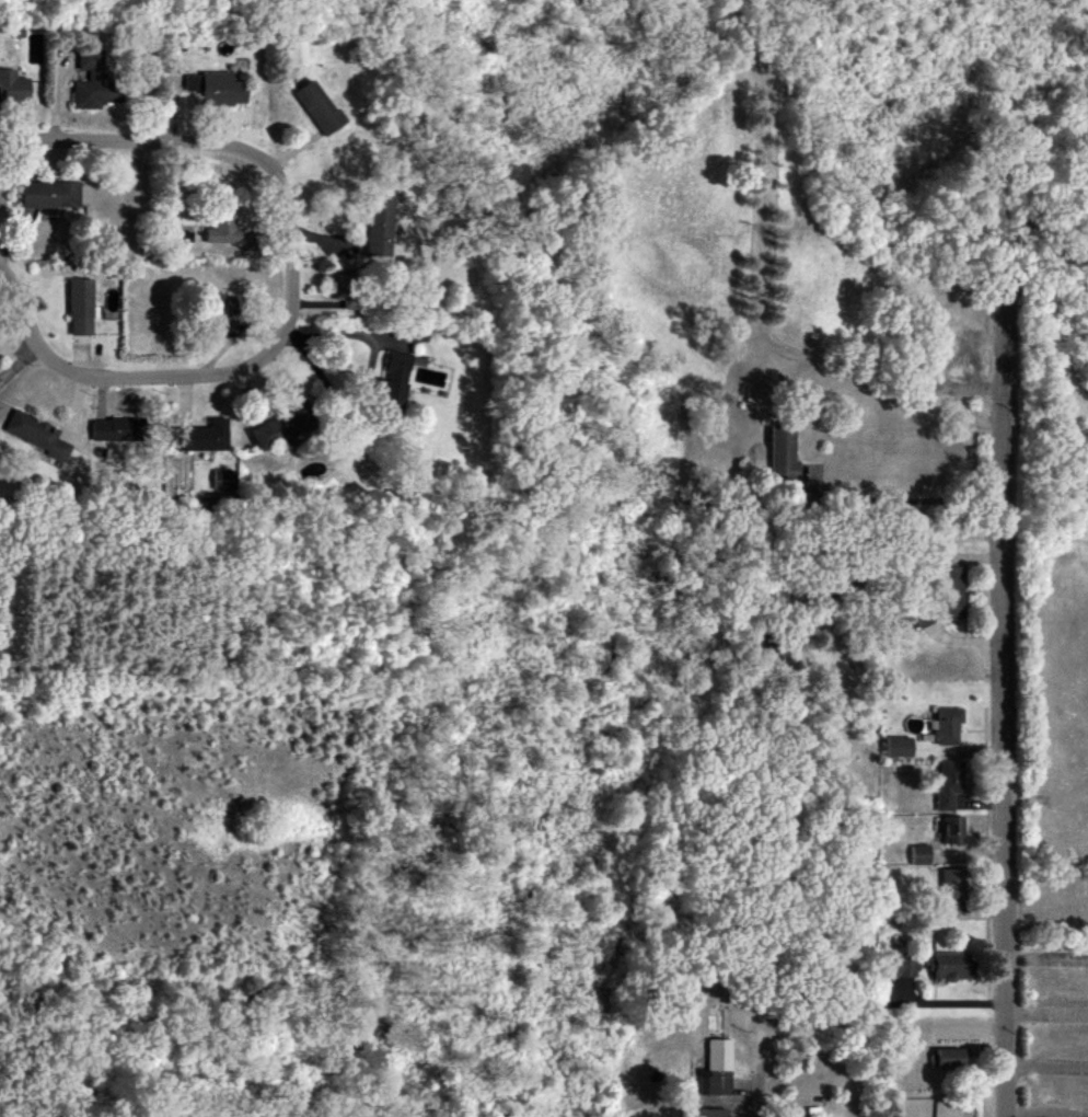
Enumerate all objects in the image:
building: (296, 53)
building: (95, 80)
building: (13, 87)
building: (218, 89)
building: (317, 107)
road: (137, 142)
building: (49, 196)
building: (379, 226)
building: (224, 227)
building: (81, 307)
building: (224, 311)
road: (205, 378)
building: (394, 382)
building: (756, 395)
building: (114, 430)
building: (36, 434)
building: (270, 436)
building: (205, 437)
building: (783, 452)
building: (225, 480)
road: (905, 502)
road: (927, 541)
building: (951, 592)
road: (1007, 636)
building: (947, 726)
building: (900, 747)
building: (950, 783)
building: (954, 830)
building: (921, 855)
building: (952, 890)
building: (900, 965)
building: (952, 967)
building: (950, 1058)
building: (717, 1069)
road: (761, 1092)
building: (708, 1113)

